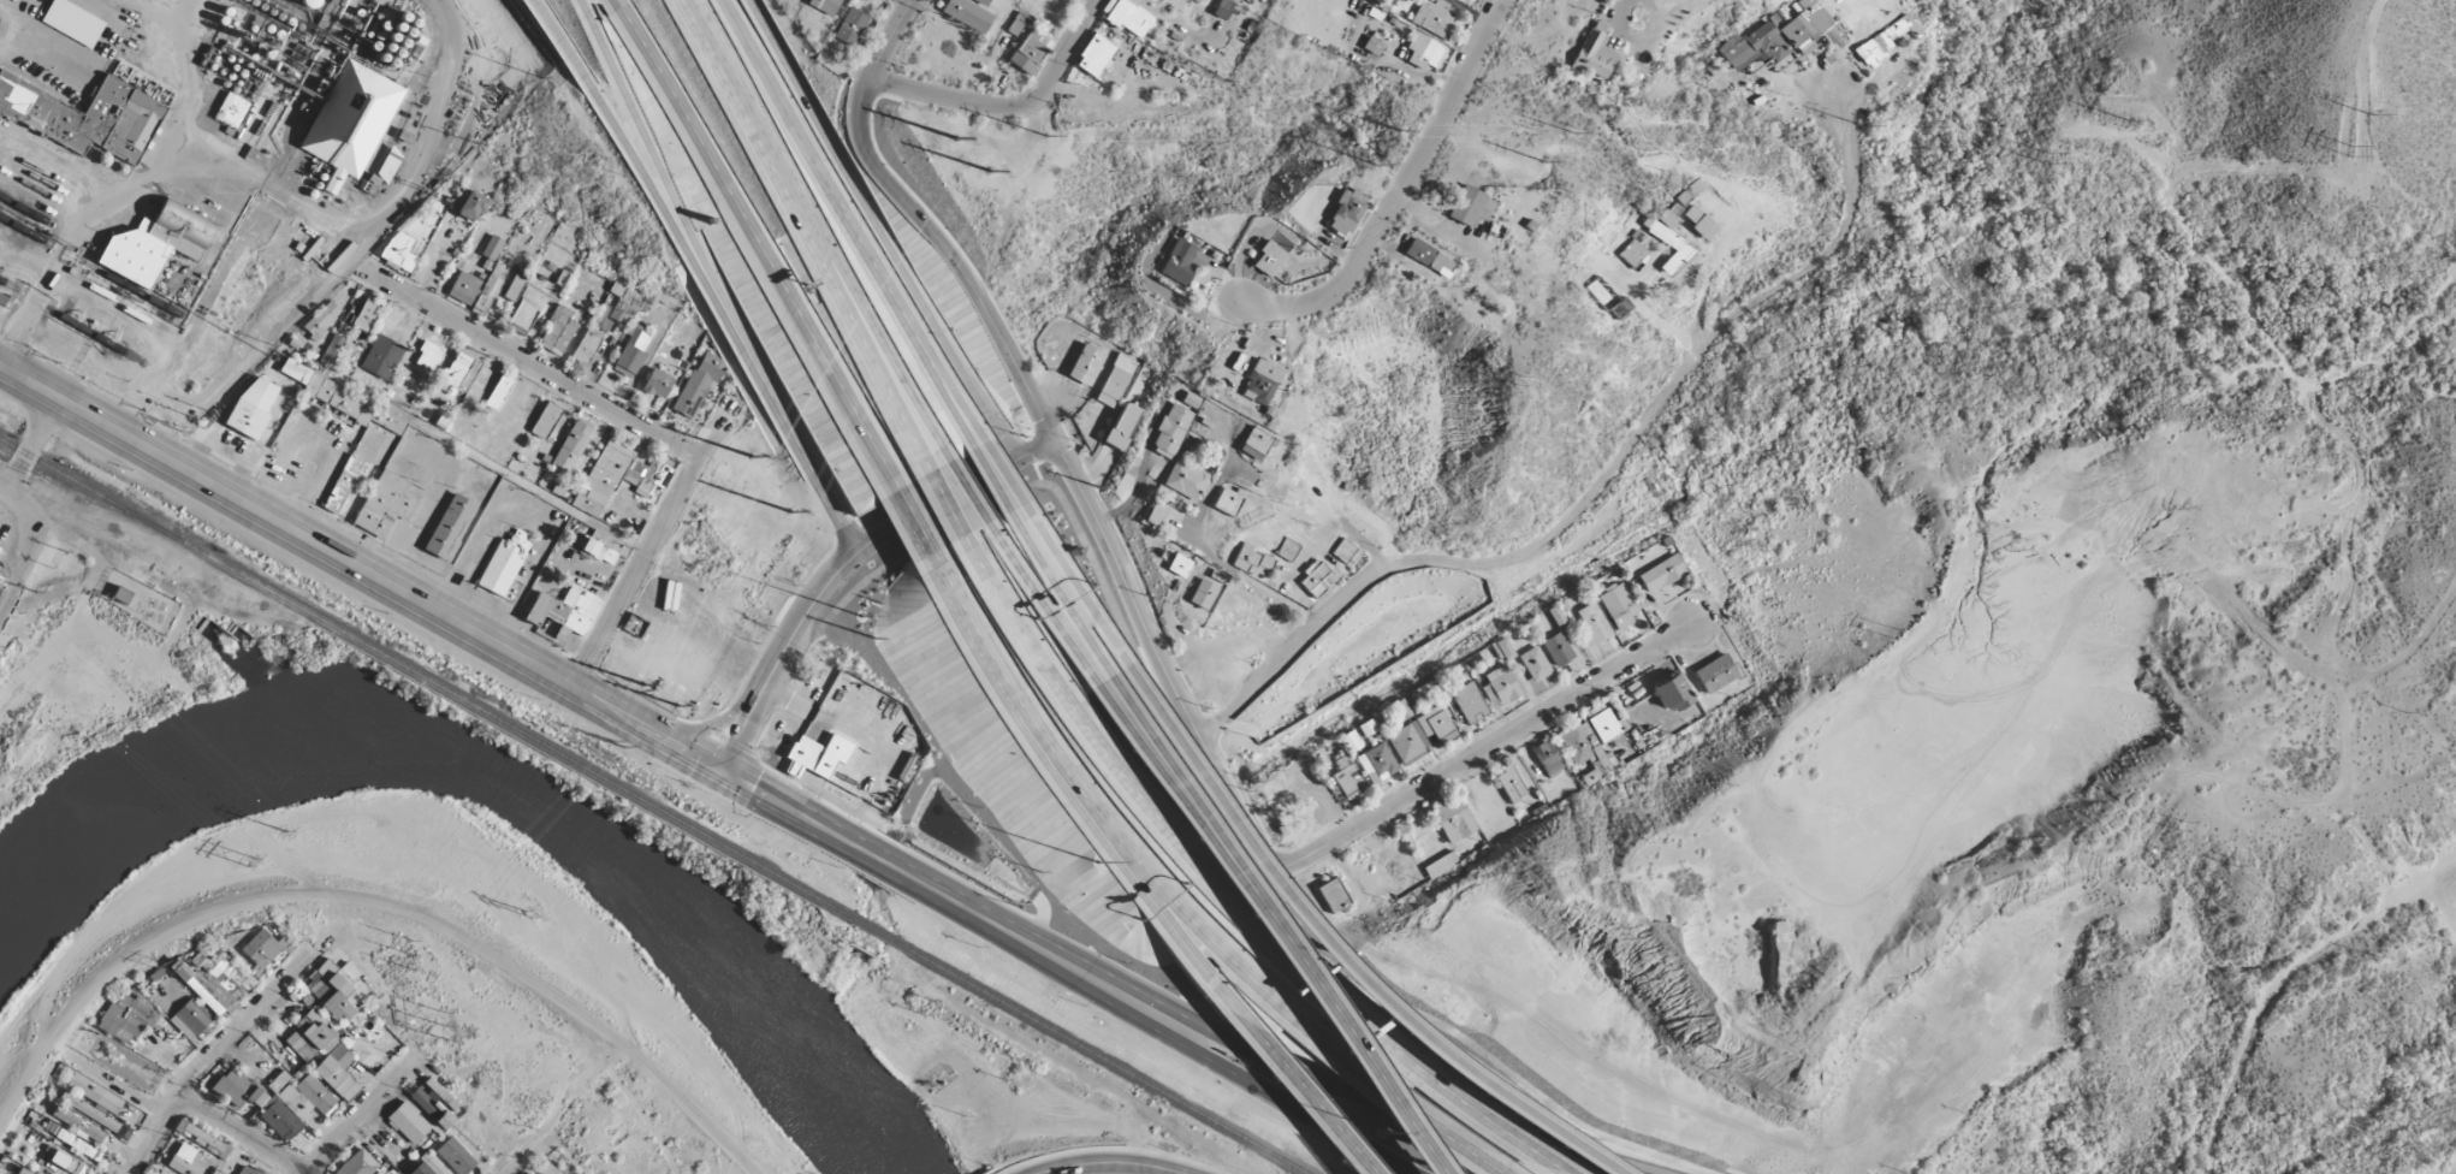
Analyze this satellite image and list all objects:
building: (1398, 0)
road: (906, 2)
building: (824, 5)
building: (1222, 8)
building: (968, 13)
building: (1127, 17)
building: (1432, 18)
building: (72, 22)
building: (1016, 24)
building: (1805, 25)
building: (849, 28)
road: (552, 31)
building: (1885, 38)
building: (1371, 46)
building: (1423, 51)
building: (1028, 52)
building: (1594, 53)
building: (1094, 54)
building: (59, 87)
road: (629, 106)
road: (1008, 106)
building: (231, 109)
power tower: (2373, 113)
building: (85, 115)
building: (350, 120)
power tower: (2126, 120)
power tower: (1864, 123)
power tower: (1396, 126)
power tower: (1572, 128)
power tower: (955, 138)
road: (623, 140)
power tower: (2349, 147)
power tower: (2043, 155)
road: (766, 158)
power tower: (1376, 160)
power tower: (1542, 160)
power tower: (985, 166)
road: (1398, 188)
building: (471, 206)
building: (1470, 206)
building: (1346, 212)
building: (1667, 219)
building: (1698, 221)
road: (849, 223)
road: (879, 232)
building: (156, 243)
road: (755, 245)
building: (1671, 245)
building: (492, 248)
building: (398, 251)
building: (1631, 254)
building: (1429, 257)
building: (1269, 259)
building: (1182, 261)
railway: (91, 267)
building: (516, 284)
building: (490, 286)
building: (464, 287)
road: (1703, 290)
building: (1603, 291)
building: (622, 303)
building: (1621, 308)
building: (526, 309)
building: (364, 315)
road: (1654, 316)
railway: (61, 319)
building: (321, 319)
building: (557, 331)
building: (592, 334)
building: (332, 350)
building: (631, 351)
building: (427, 355)
road: (532, 362)
building: (1082, 364)
building: (1113, 381)
building: (1260, 381)
building: (657, 384)
building: (698, 384)
road: (765, 384)
road: (902, 387)
road: (948, 387)
building: (498, 392)
road: (891, 393)
building: (1191, 399)
building: (344, 401)
building: (250, 408)
building: (545, 420)
road: (1046, 422)
building: (1122, 426)
building: (1170, 431)
building: (1254, 443)
road: (26, 444)
building: (571, 444)
road: (1040, 450)
power tower: (752, 453)
building: (627, 469)
railway: (31, 472)
road: (1004, 473)
road: (991, 478)
building: (1185, 479)
building: (345, 481)
road: (1597, 486)
road: (0, 491)
road: (972, 491)
railway: (77, 494)
building: (587, 500)
building: (1227, 500)
road: (949, 503)
building: (385, 504)
power tower: (790, 510)
building: (1156, 514)
road: (914, 517)
building: (449, 527)
road: (24, 545)
building: (604, 547)
building: (1287, 549)
building: (1346, 552)
road: (646, 555)
building: (1252, 562)
building: (503, 563)
road: (354, 564)
building: (1179, 565)
building: (1661, 573)
road: (832, 574)
building: (1316, 580)
road: (1073, 583)
road: (1060, 592)
building: (121, 594)
building: (1202, 594)
road: (1045, 603)
building: (565, 610)
building: (1621, 612)
building: (1591, 624)
building: (1500, 650)
building: (1556, 650)
building: (1533, 664)
road: (1003, 672)
building: (1715, 674)
railway: (428, 681)
power tower: (643, 682)
building: (1499, 687)
building: (1671, 693)
building: (1469, 702)
power tower: (676, 706)
building: (1400, 710)
building: (1436, 722)
building: (1603, 723)
building: (1404, 742)
road: (1490, 746)
building: (1584, 751)
building: (818, 754)
building: (1547, 757)
building: (1376, 761)
building: (1345, 779)
road: (1215, 781)
building: (1509, 783)
road: (1187, 789)
river: (538, 790)
road: (1175, 796)
building: (1453, 819)
road: (1186, 852)
building: (1441, 864)
road: (937, 894)
building: (1334, 895)
road: (379, 908)
road: (1159, 908)
railway: (871, 930)
road: (1208, 939)
building: (265, 948)
road: (1333, 956)
building: (206, 986)
building: (333, 988)
building: (124, 1016)
building: (189, 1019)
building: (307, 1034)
road: (1348, 1040)
road: (206, 1051)
railway: (1093, 1055)
building: (336, 1069)
building: (278, 1081)
building: (237, 1089)
building: (94, 1093)
road: (1311, 1096)
building: (307, 1097)
road: (1287, 1103)
road: (1393, 1104)
road: (1401, 1104)
building: (429, 1108)
road: (360, 1111)
building: (278, 1117)
building: (408, 1122)
road: (238, 1129)
road: (1518, 1142)
building: (78, 1146)
building: (455, 1156)
road: (1477, 1157)
building: (183, 1160)
road: (515, 1161)
building: (66, 1162)
road: (1105, 1162)
building: (357, 1163)
building: (8, 1166)
building: (427, 1167)
building: (248, 1169)
building: (545, 1169)
building: (22, 1172)
building: (161, 1172)
road: (301, 1172)
road: (1562, 1173)

